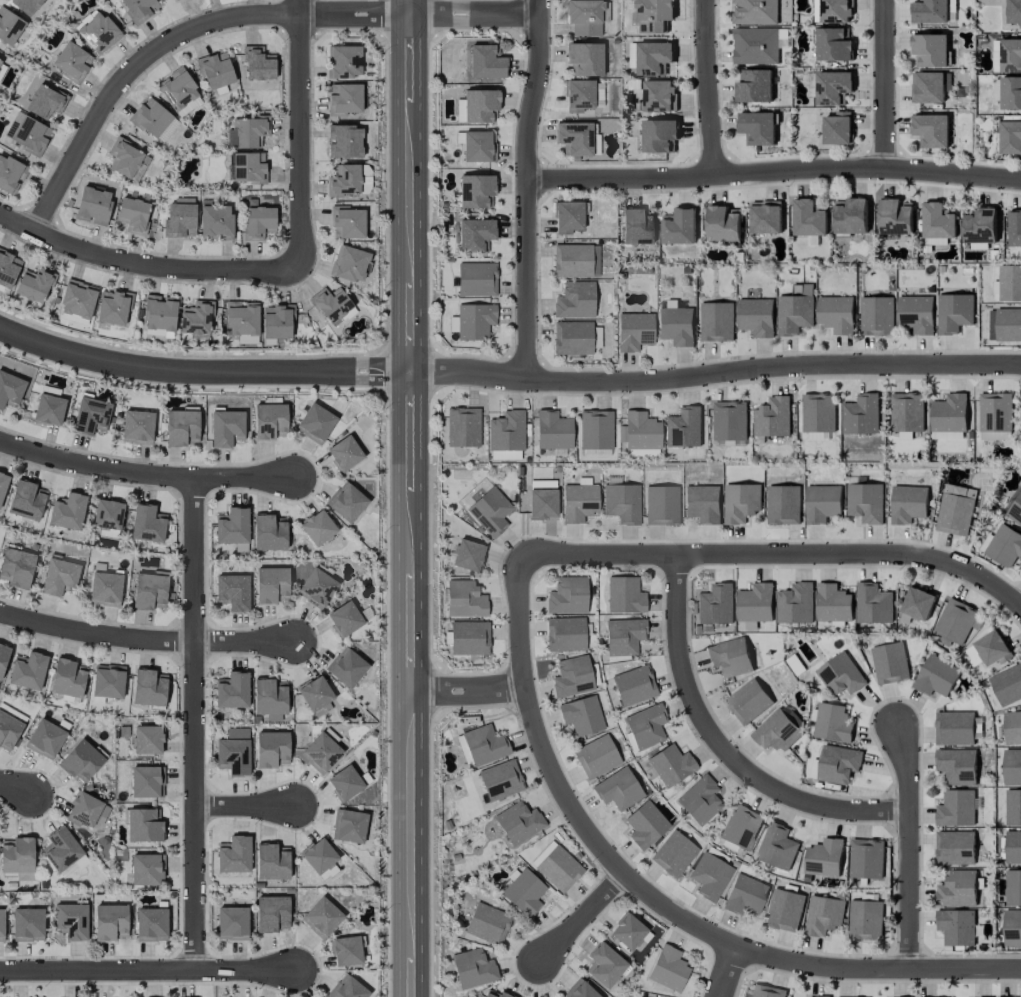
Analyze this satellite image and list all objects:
building: (175, 0)
building: (26, 5)
building: (139, 8)
road: (408, 8)
building: (930, 11)
building: (755, 12)
building: (1013, 12)
building: (654, 15)
building: (584, 17)
road: (233, 19)
building: (9, 26)
building: (98, 32)
building: (782, 38)
building: (833, 45)
building: (755, 46)
building: (930, 50)
building: (1006, 56)
building: (650, 57)
building: (584, 58)
building: (343, 61)
building: (0, 62)
building: (72, 62)
building: (486, 62)
building: (258, 64)
building: (215, 70)
road: (885, 85)
building: (754, 86)
building: (929, 87)
road: (708, 88)
building: (833, 88)
building: (177, 89)
building: (1011, 93)
building: (578, 95)
building: (659, 96)
building: (344, 99)
building: (45, 101)
building: (479, 105)
building: (188, 106)
building: (153, 120)
building: (757, 128)
building: (837, 128)
building: (931, 130)
building: (247, 132)
building: (27, 133)
road: (300, 134)
building: (659, 135)
building: (1010, 137)
building: (577, 138)
building: (344, 141)
building: (478, 146)
building: (126, 158)
building: (248, 167)
road: (775, 173)
building: (10, 174)
building: (344, 180)
road: (529, 188)
building: (476, 191)
building: (93, 205)
building: (133, 214)
building: (851, 216)
building: (568, 217)
building: (765, 217)
building: (895, 217)
building: (809, 218)
building: (180, 220)
building: (216, 221)
building: (938, 221)
building: (258, 222)
building: (347, 222)
building: (724, 224)
building: (980, 225)
building: (638, 226)
building: (679, 227)
building: (1014, 228)
building: (475, 235)
building: (935, 242)
building: (575, 260)
building: (349, 263)
road: (145, 264)
building: (476, 279)
building: (1009, 283)
building: (34, 284)
building: (803, 289)
building: (77, 299)
building: (575, 300)
building: (331, 304)
building: (113, 307)
building: (159, 312)
building: (954, 313)
building: (794, 314)
building: (836, 314)
building: (916, 314)
building: (876, 316)
building: (196, 317)
building: (756, 317)
building: (242, 318)
building: (474, 320)
building: (277, 321)
building: (717, 322)
building: (676, 324)
building: (1008, 324)
building: (634, 331)
building: (572, 337)
road: (409, 354)
road: (201, 373)
road: (714, 373)
building: (10, 389)
building: (48, 409)
building: (818, 412)
building: (907, 412)
building: (995, 412)
building: (949, 413)
building: (91, 415)
building: (861, 415)
building: (772, 417)
building: (269, 420)
building: (315, 423)
building: (730, 423)
building: (181, 426)
building: (137, 427)
building: (463, 427)
building: (684, 427)
building: (226, 428)
building: (595, 429)
building: (553, 430)
building: (506, 431)
building: (641, 431)
building: (995, 435)
building: (815, 436)
building: (344, 453)
building: (504, 455)
road: (144, 476)
building: (3, 483)
building: (25, 500)
building: (579, 501)
building: (346, 502)
building: (622, 502)
building: (741, 502)
building: (865, 502)
building: (542, 503)
building: (703, 503)
building: (822, 503)
building: (908, 504)
building: (662, 505)
building: (783, 505)
building: (1014, 508)
building: (488, 509)
building: (955, 509)
building: (67, 512)
building: (107, 514)
building: (147, 523)
building: (232, 526)
building: (317, 527)
building: (269, 532)
building: (1004, 546)
building: (467, 555)
road: (776, 555)
building: (16, 567)
building: (59, 576)
building: (271, 584)
building: (316, 587)
building: (105, 588)
building: (149, 590)
building: (232, 591)
building: (567, 595)
building: (624, 595)
building: (465, 599)
building: (755, 603)
building: (833, 603)
building: (918, 603)
building: (715, 604)
building: (795, 604)
building: (873, 604)
building: (344, 618)
building: (956, 621)
building: (747, 626)
building: (565, 634)
building: (624, 636)
building: (469, 637)
road: (145, 640)
building: (992, 649)
building: (973, 655)
building: (3, 657)
building: (730, 657)
building: (890, 663)
building: (346, 666)
building: (28, 670)
building: (840, 675)
building: (572, 676)
building: (936, 676)
building: (68, 678)
building: (108, 681)
building: (634, 685)
building: (1007, 685)
building: (149, 687)
building: (232, 690)
road: (468, 691)
building: (315, 694)
building: (269, 697)
building: (748, 701)
building: (581, 715)
building: (832, 723)
road: (195, 725)
building: (645, 725)
building: (1012, 727)
building: (954, 728)
building: (8, 731)
building: (776, 731)
building: (45, 738)
building: (147, 739)
building: (484, 744)
road: (723, 748)
building: (271, 749)
building: (321, 751)
building: (233, 752)
building: (596, 756)
building: (81, 761)
building: (670, 764)
building: (838, 764)
building: (957, 766)
building: (1012, 767)
building: (500, 780)
building: (145, 781)
building: (345, 782)
road: (15, 787)
building: (617, 789)
building: (699, 800)
road: (246, 804)
building: (956, 808)
building: (1013, 808)
building: (85, 810)
building: (518, 822)
building: (645, 824)
building: (144, 825)
building: (348, 826)
building: (741, 827)
road: (410, 845)
building: (777, 847)
building: (1013, 847)
road: (909, 848)
building: (954, 848)
building: (61, 849)
building: (674, 853)
building: (233, 854)
building: (318, 855)
building: (17, 857)
building: (824, 858)
building: (866, 859)
building: (271, 861)
building: (556, 866)
building: (73, 867)
building: (146, 869)
building: (710, 876)
building: (1013, 887)
building: (957, 889)
building: (524, 892)
building: (745, 895)
road: (651, 898)
building: (784, 910)
building: (271, 913)
building: (823, 915)
building: (321, 917)
road: (583, 919)
building: (865, 919)
building: (71, 920)
building: (110, 922)
building: (232, 923)
building: (488, 923)
building: (1, 924)
building: (27, 924)
building: (151, 924)
building: (956, 927)
building: (1012, 928)
building: (627, 931)
building: (346, 950)
building: (604, 965)
building: (473, 968)
building: (668, 968)
road: (147, 969)
road: (726, 973)
building: (347, 988)
building: (580, 990)
building: (767, 991)
building: (495, 994)
building: (820, 996)

